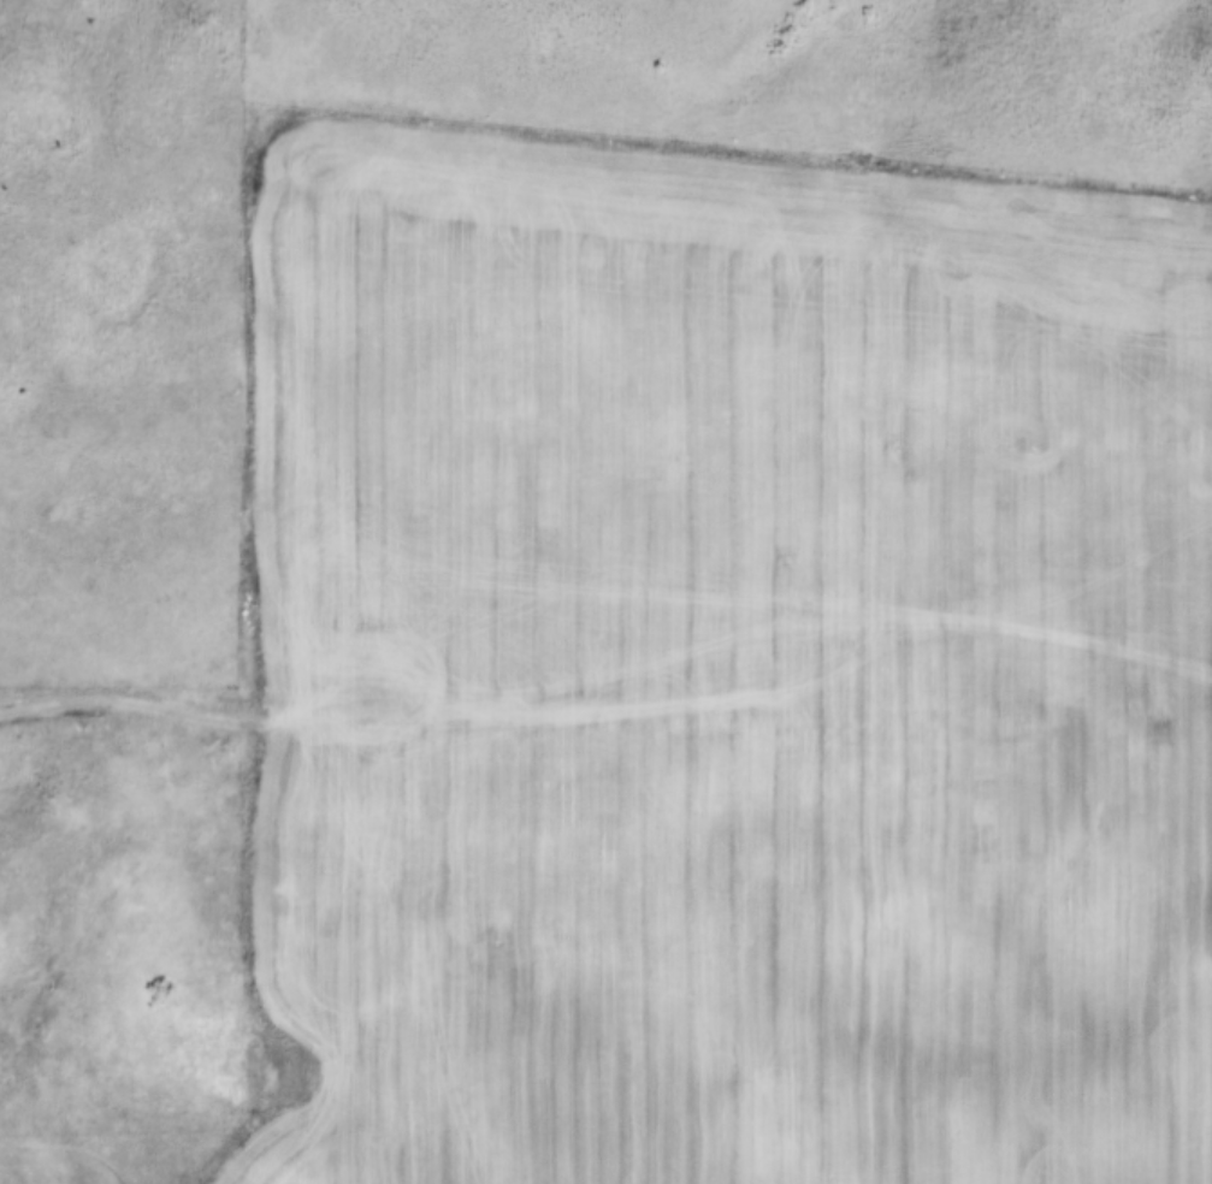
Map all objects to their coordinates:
road: (604, 721)

